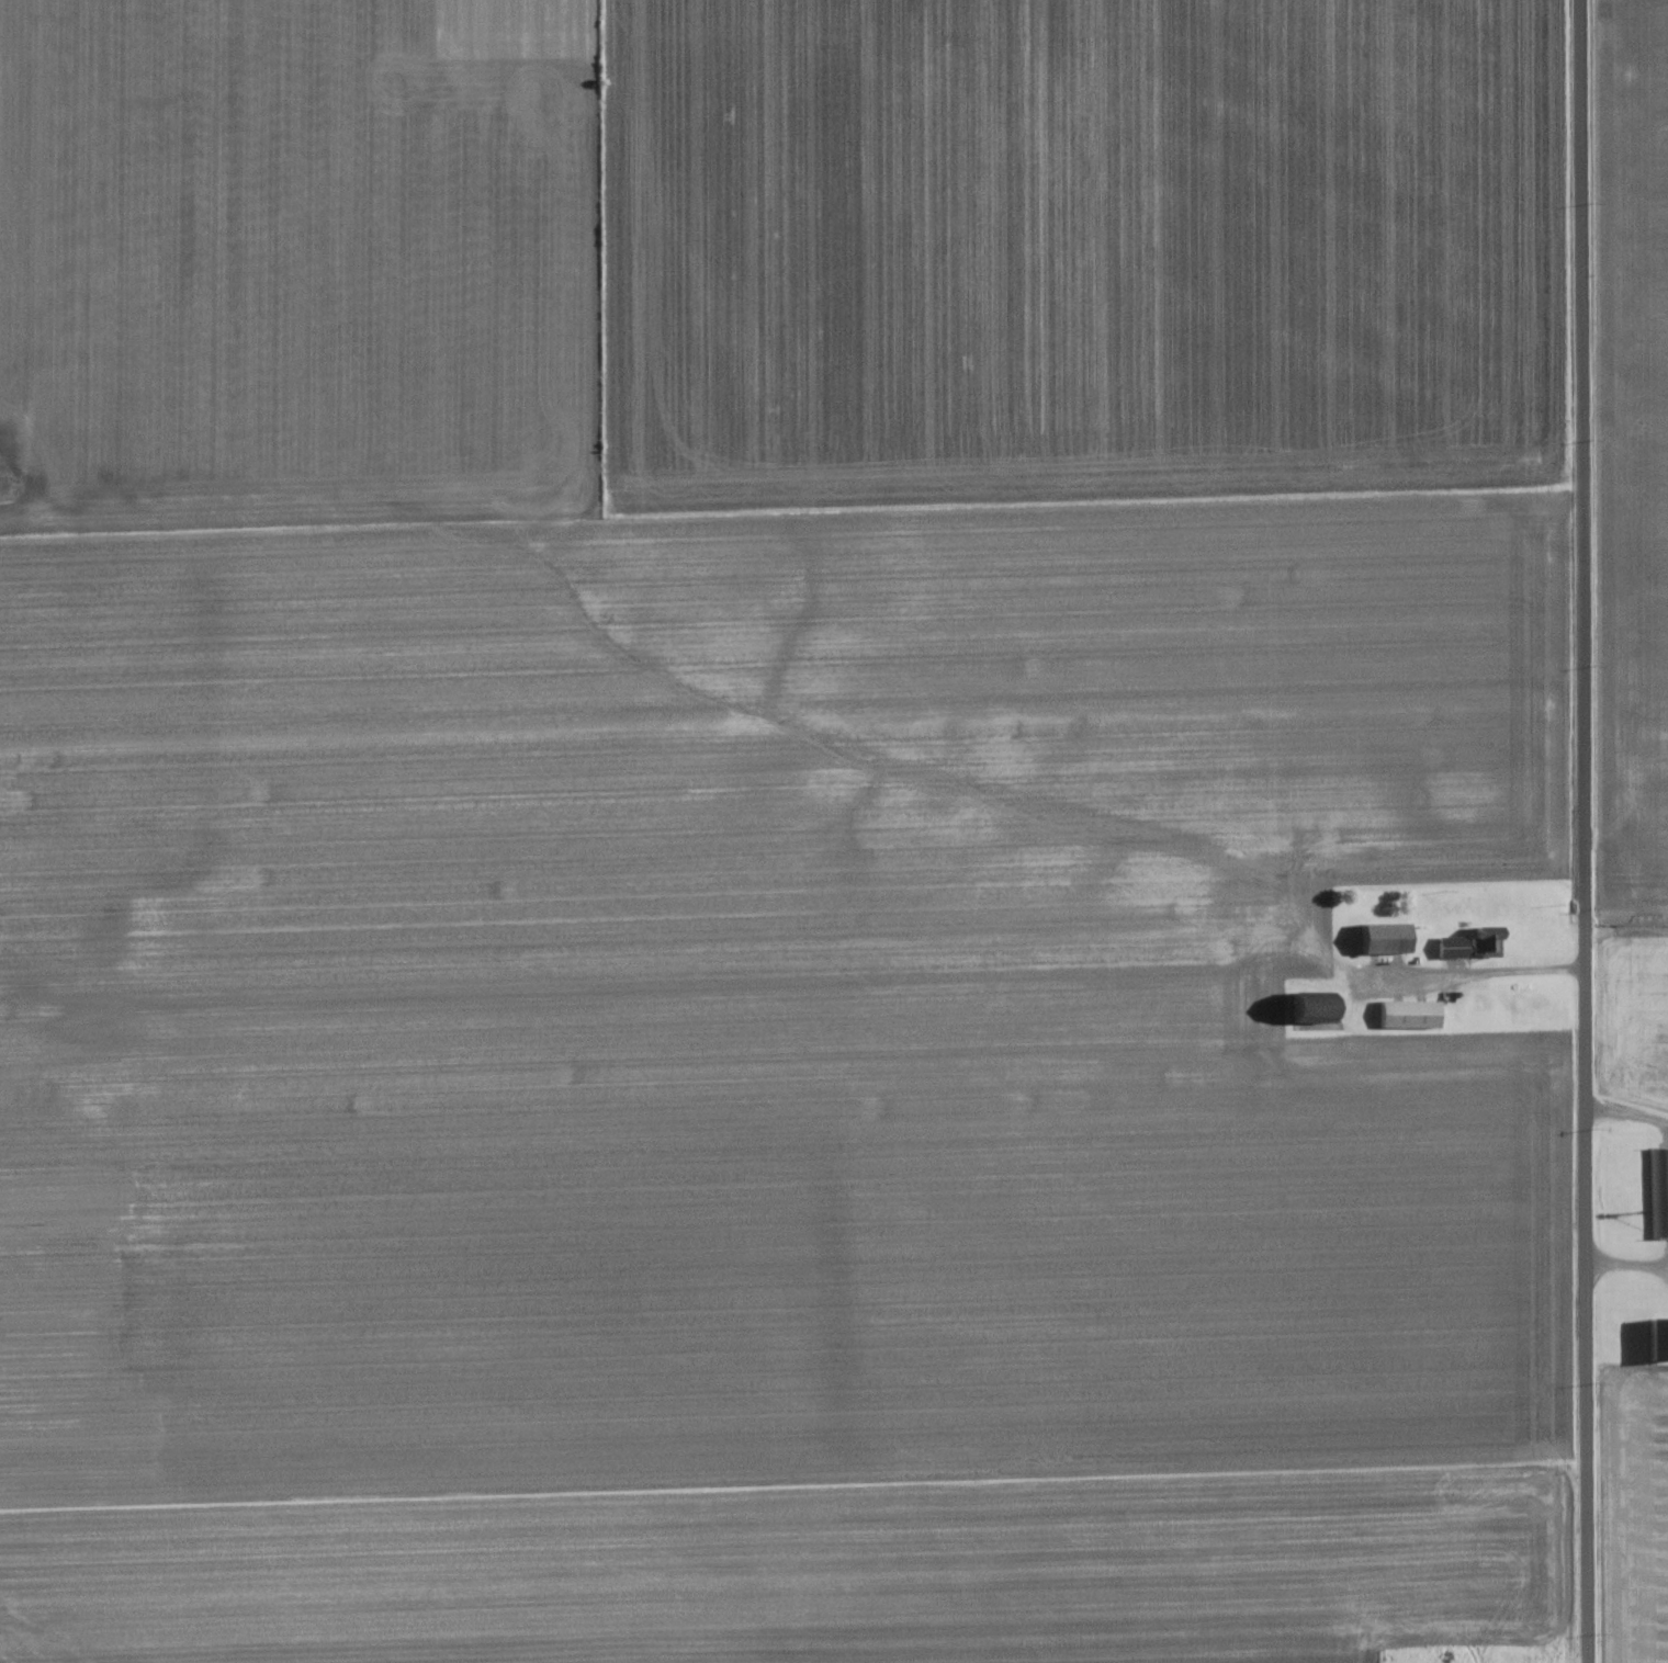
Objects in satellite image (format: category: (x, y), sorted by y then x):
road: (1553, 831)
building: (1376, 937)
building: (1463, 943)
building: (1475, 1000)
building: (1300, 1006)
building: (1402, 1014)
building: (1657, 1190)
building: (1653, 1339)

